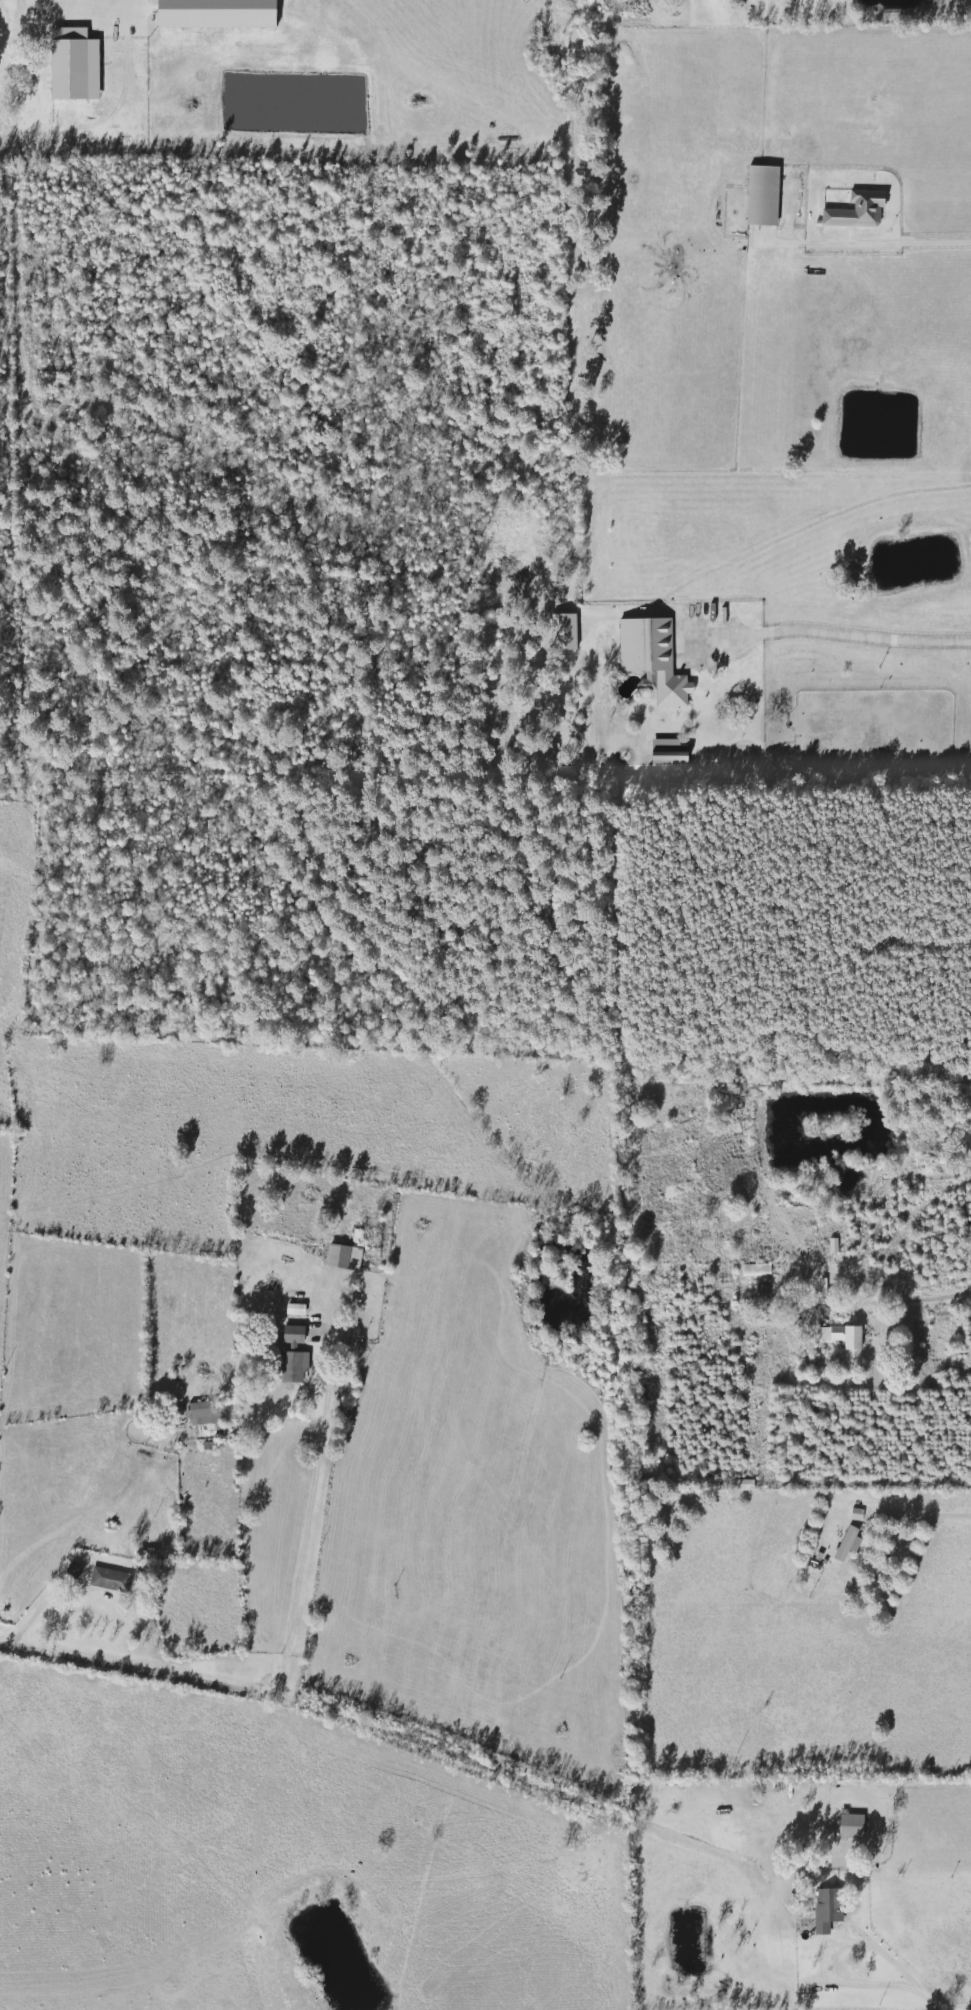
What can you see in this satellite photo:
road: (69, 11)
building: (763, 194)
building: (858, 209)
road: (908, 249)
building: (688, 629)
road: (851, 641)
building: (672, 687)
building: (669, 755)
building: (344, 1256)
building: (756, 1269)
road: (910, 1297)
building: (765, 1302)
building: (296, 1308)
building: (294, 1335)
building: (845, 1339)
building: (294, 1366)
building: (204, 1413)
building: (706, 1483)
building: (742, 1483)
road: (308, 1515)
building: (848, 1542)
building: (74, 1569)
building: (110, 1578)
road: (134, 1668)
building: (851, 1825)
building: (786, 1937)
road: (891, 1986)

